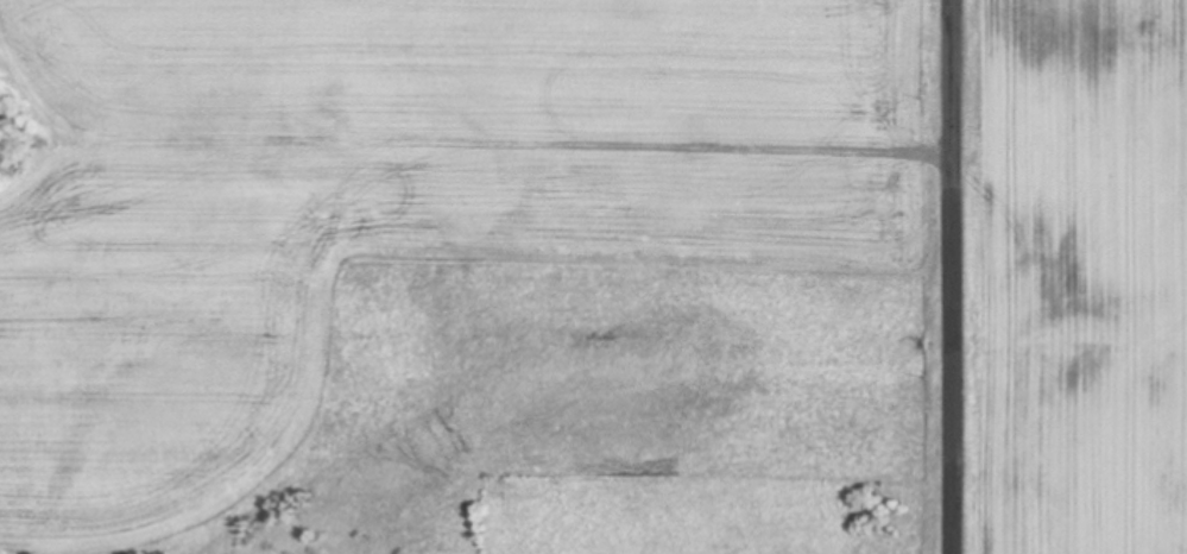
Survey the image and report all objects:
road: (956, 277)

